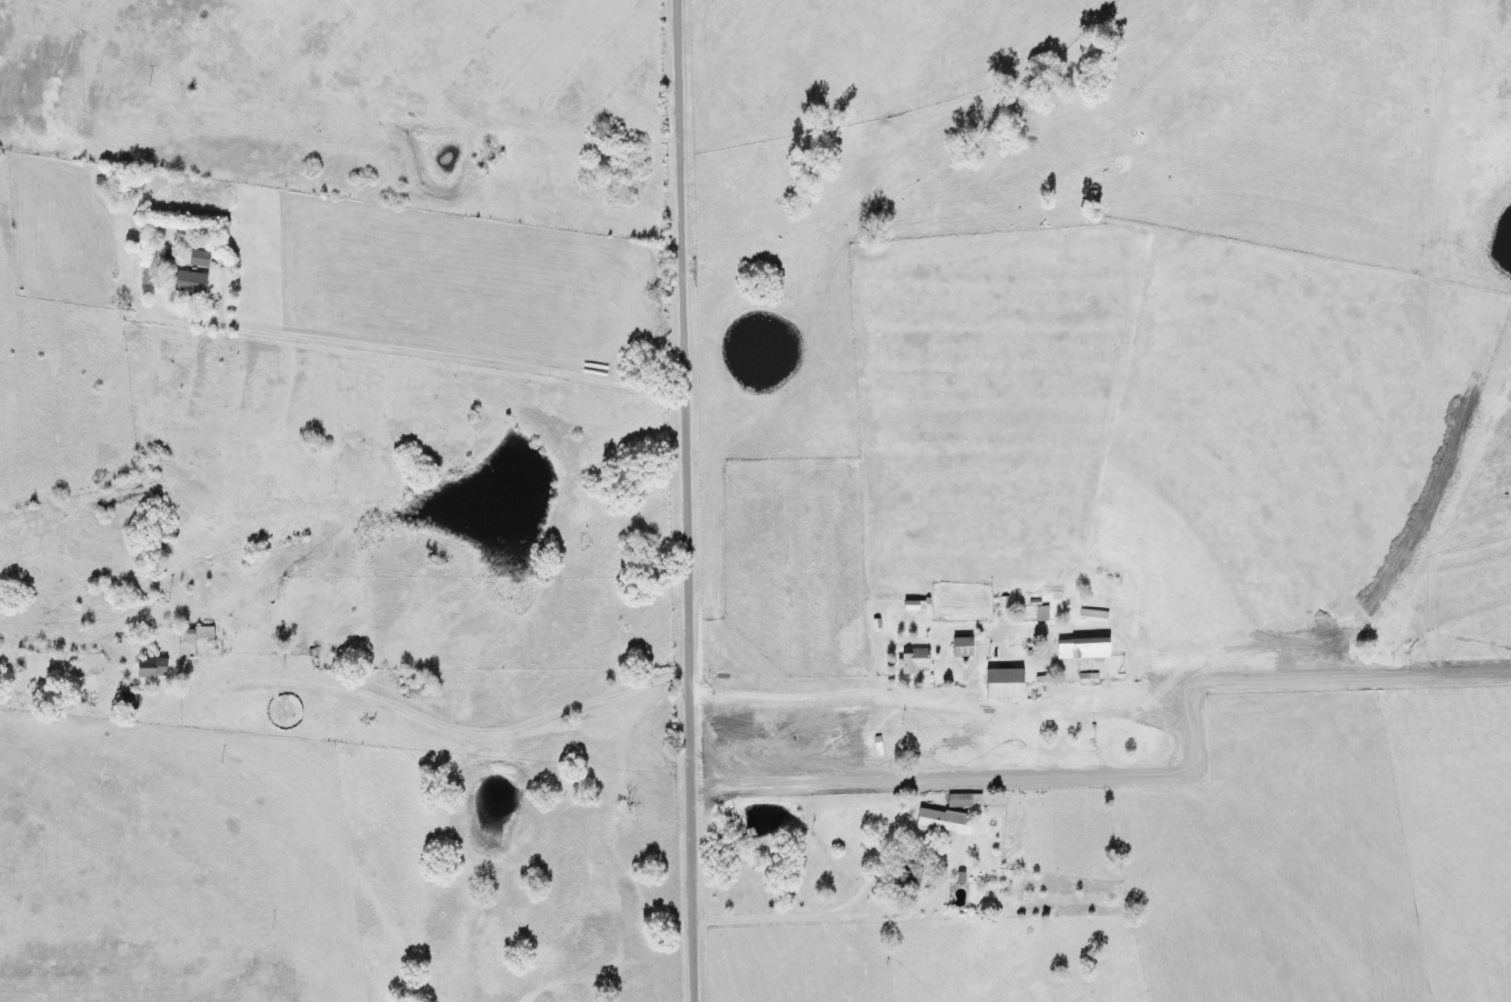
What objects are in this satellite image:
building: (192, 258)
building: (183, 284)
road: (450, 351)
road: (689, 500)
building: (1105, 577)
building: (1036, 614)
road: (1109, 622)
building: (190, 634)
building: (954, 648)
building: (1075, 649)
building: (907, 662)
building: (145, 668)
building: (995, 684)
building: (123, 701)
road: (433, 716)
building: (958, 801)
building: (928, 824)
building: (895, 880)

